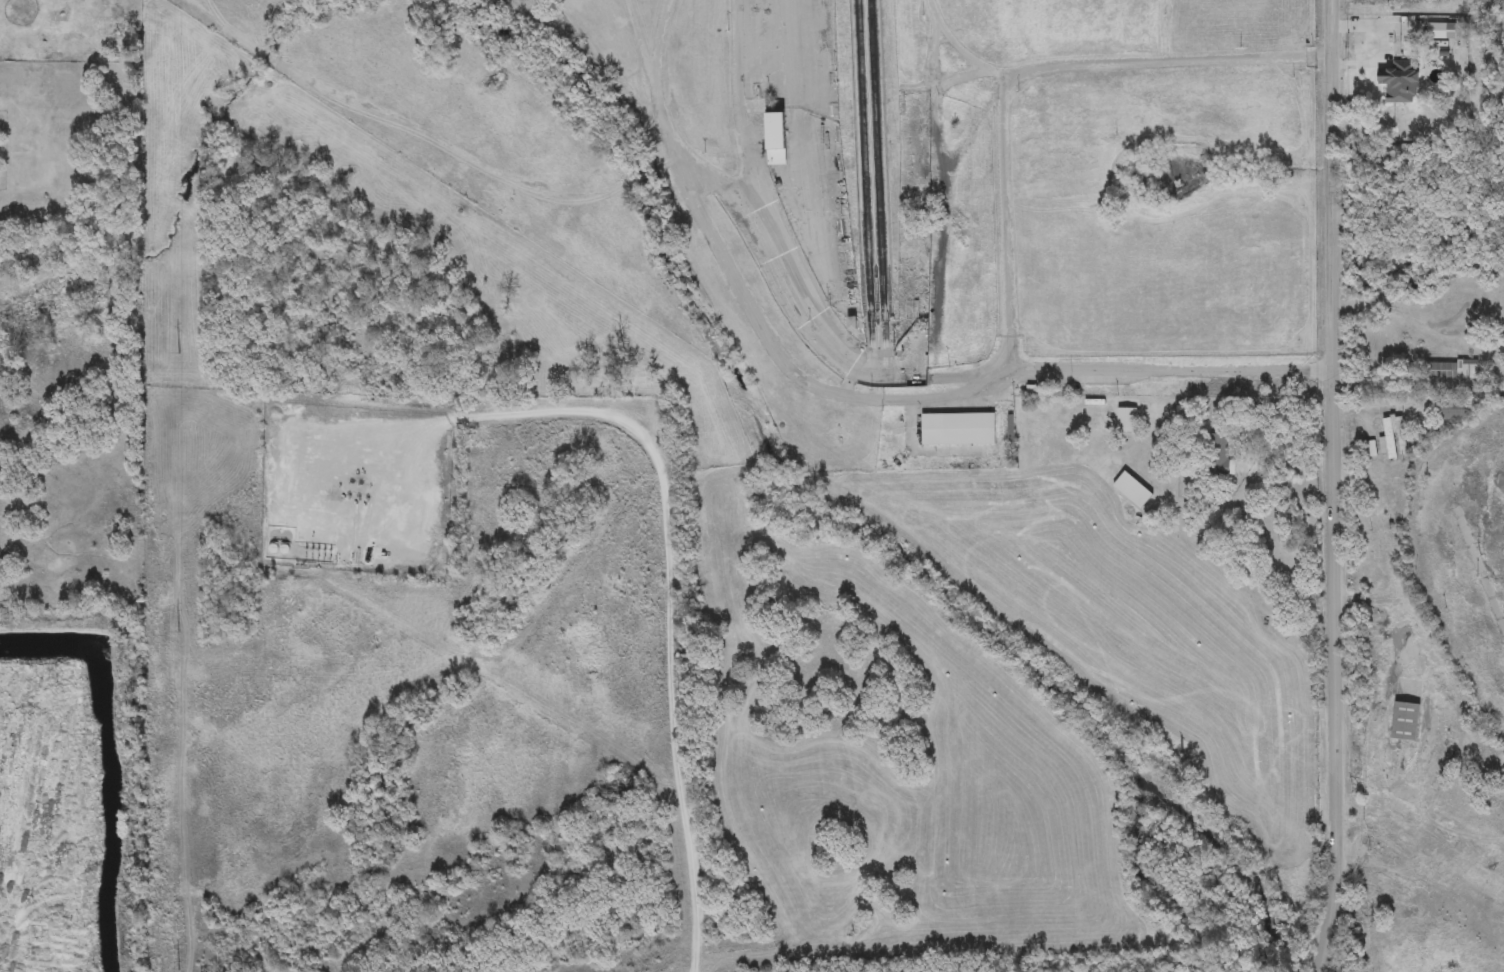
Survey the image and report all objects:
road: (1331, 18)
road: (650, 41)
road: (965, 46)
building: (1430, 76)
road: (944, 89)
building: (776, 140)
road: (803, 144)
road: (881, 175)
building: (910, 180)
road: (1014, 220)
road: (800, 268)
building: (909, 276)
road: (751, 300)
road: (1418, 321)
building: (1394, 342)
building: (1449, 371)
road: (1418, 386)
building: (1452, 411)
building: (1096, 419)
building: (1126, 421)
building: (957, 430)
building: (1391, 436)
building: (1369, 450)
building: (1090, 453)
building: (1220, 453)
building: (1131, 485)
road: (1334, 504)
building: (1405, 722)

